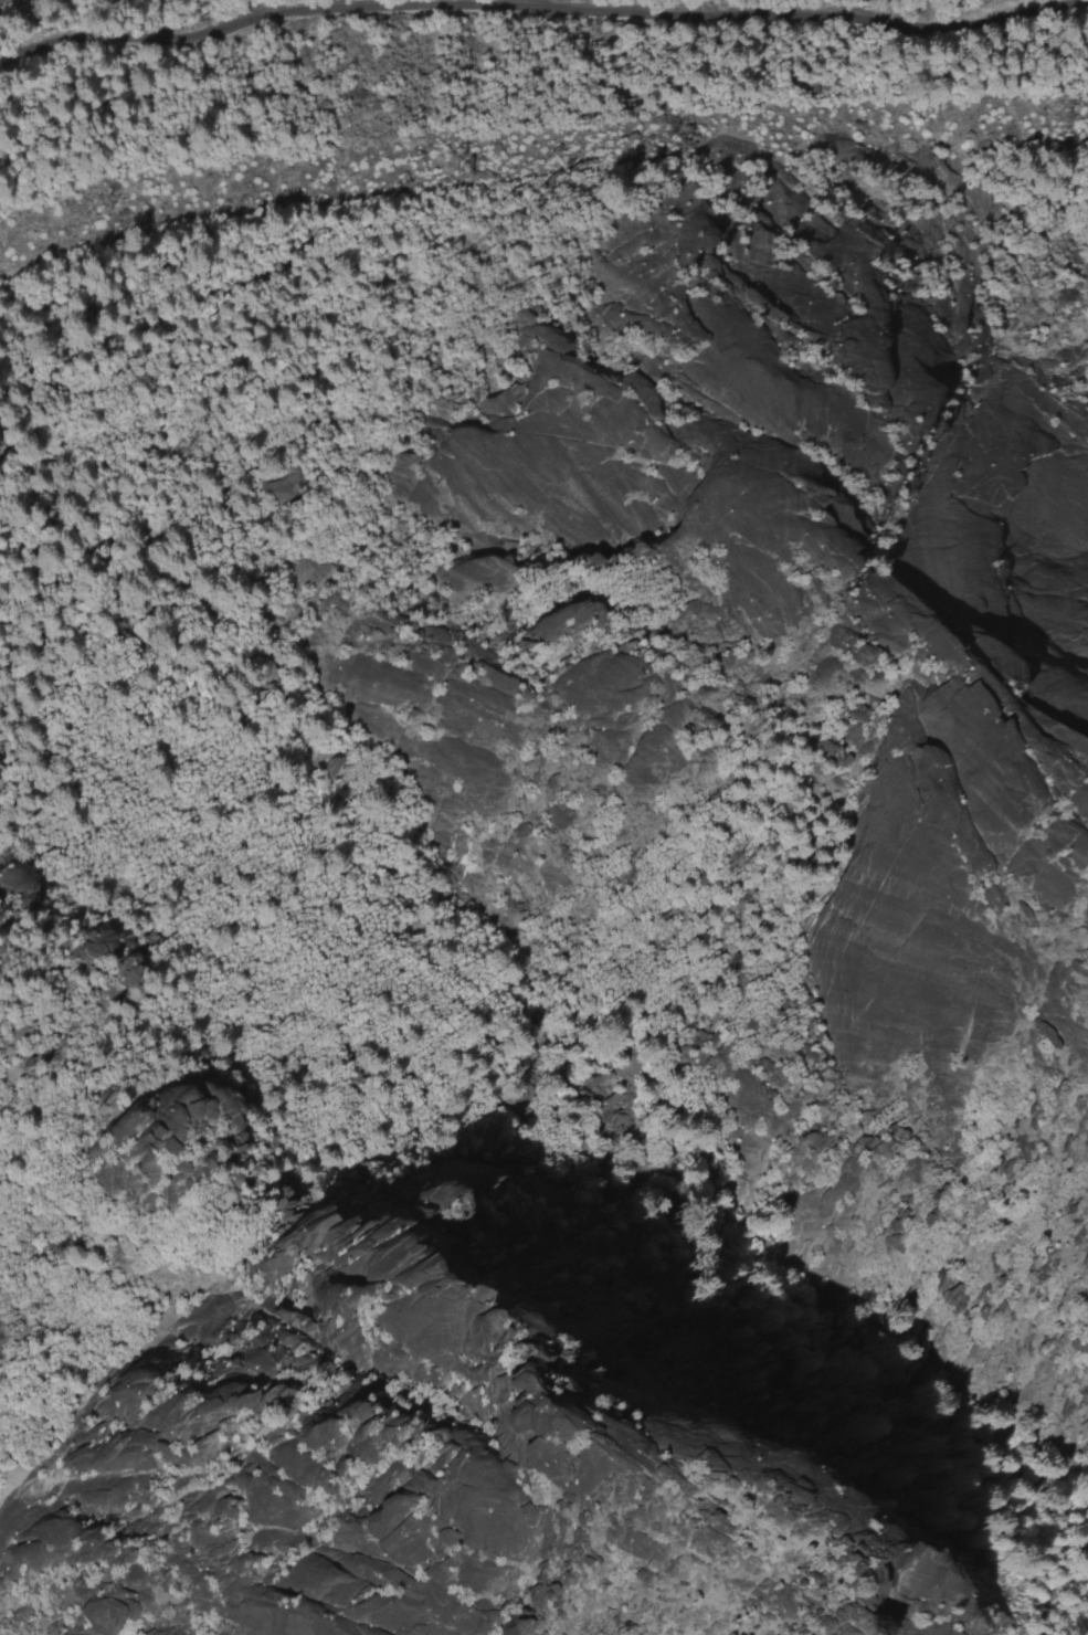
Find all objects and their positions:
road: (540, 8)
power tower: (1064, 122)
power tower: (662, 140)
power tower: (451, 169)
power tower: (104, 208)

